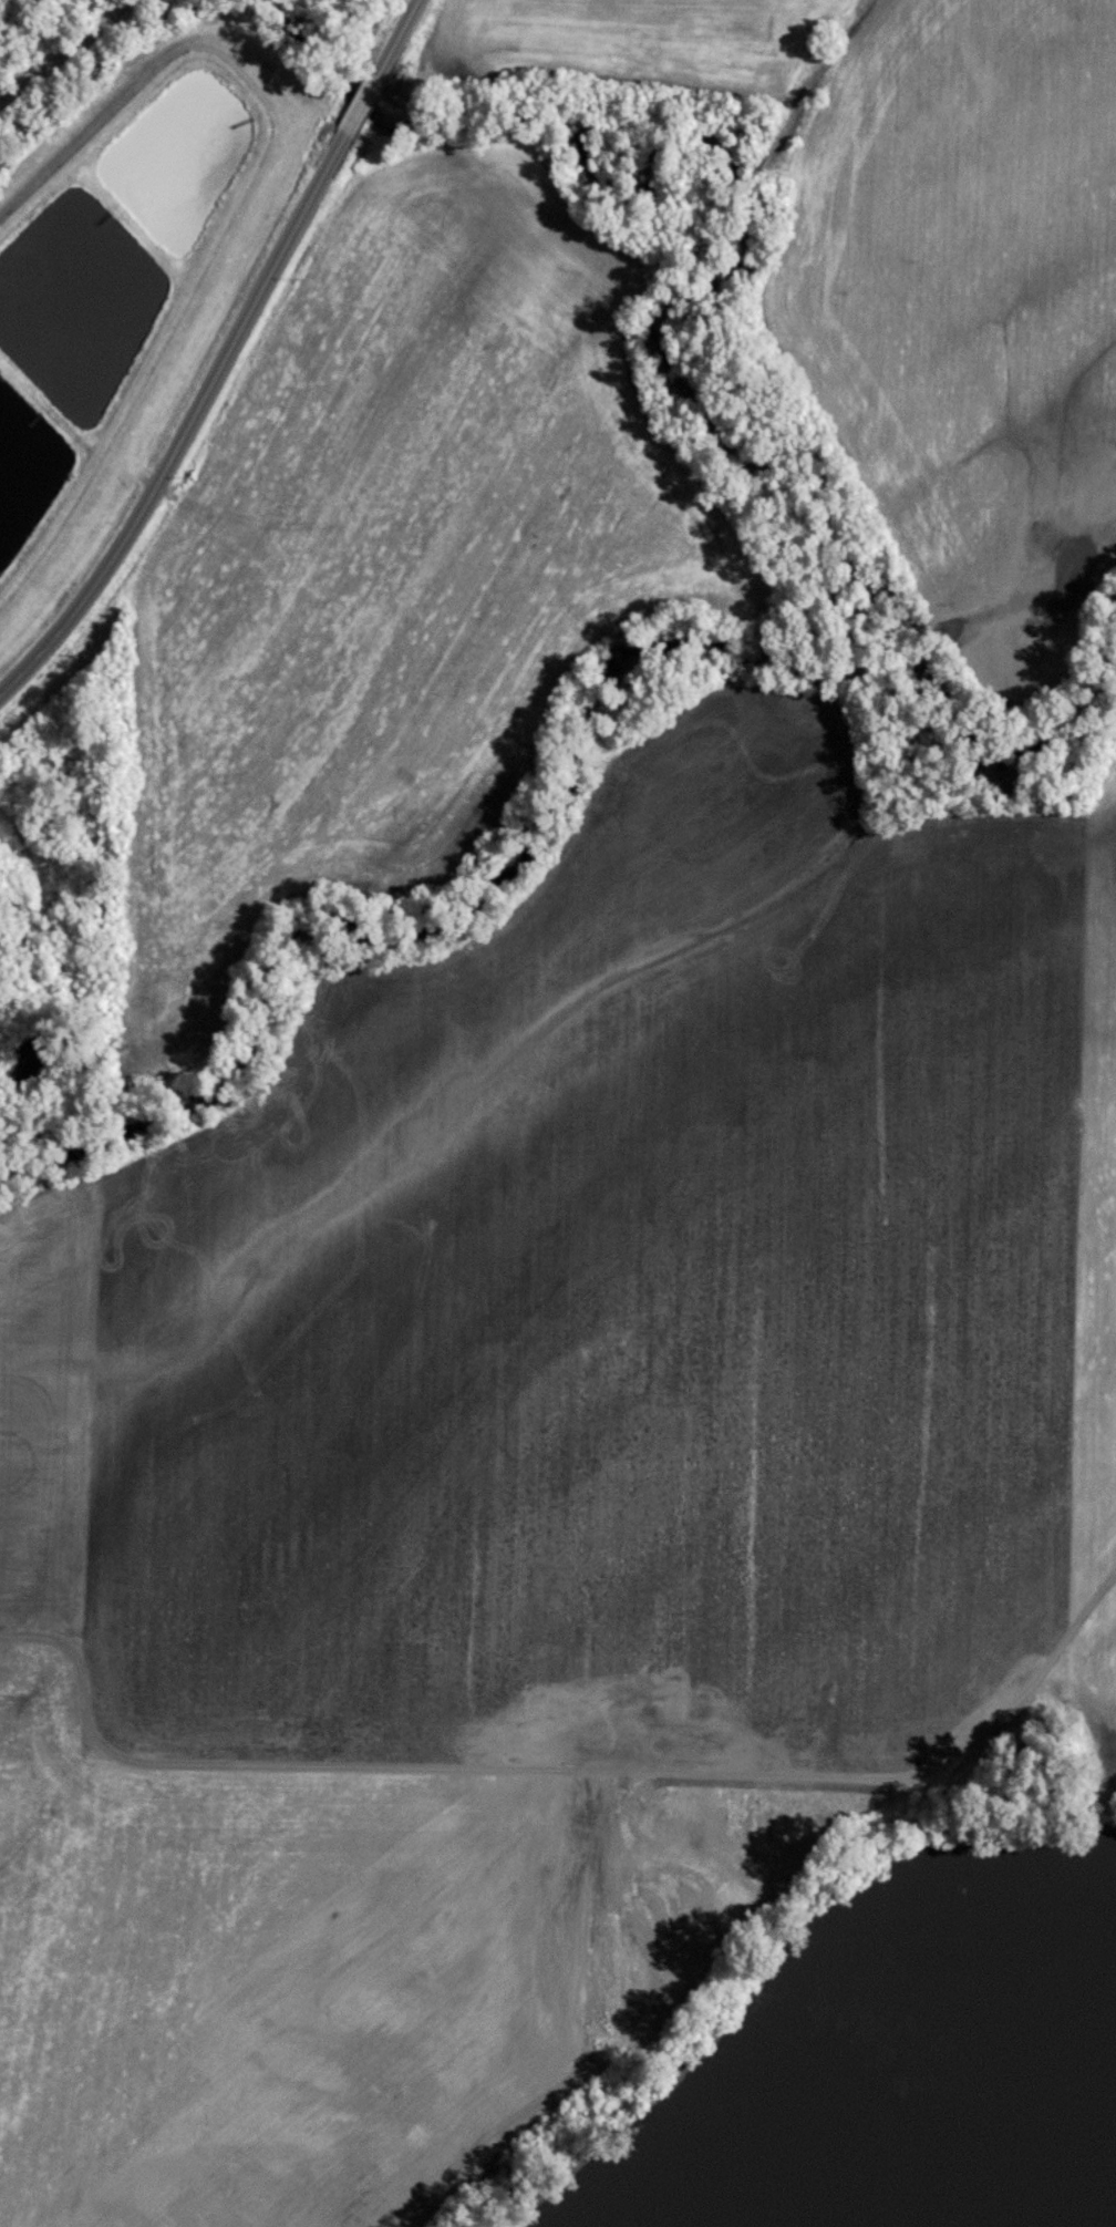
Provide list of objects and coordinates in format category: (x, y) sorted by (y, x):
road: (392, 47)
road: (69, 51)
road: (201, 411)

